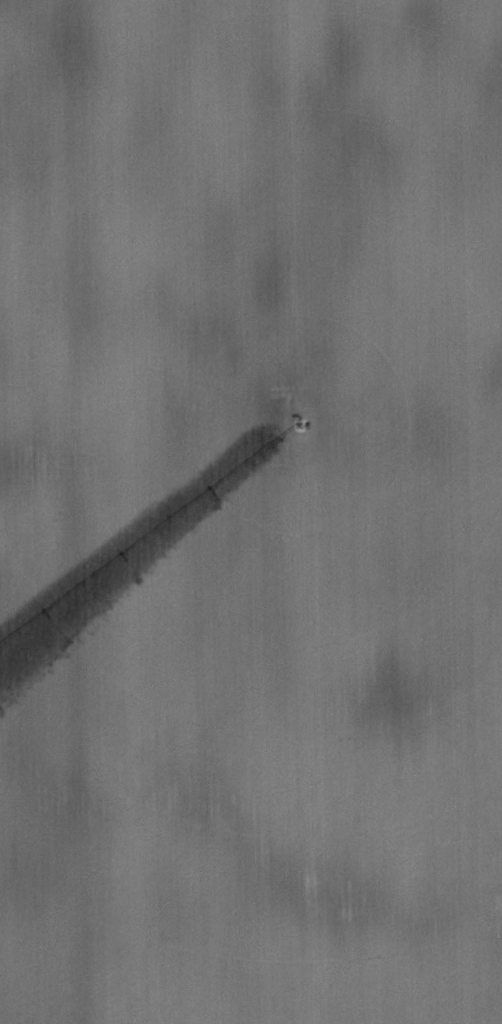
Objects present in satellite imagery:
crop: (251, 512)

